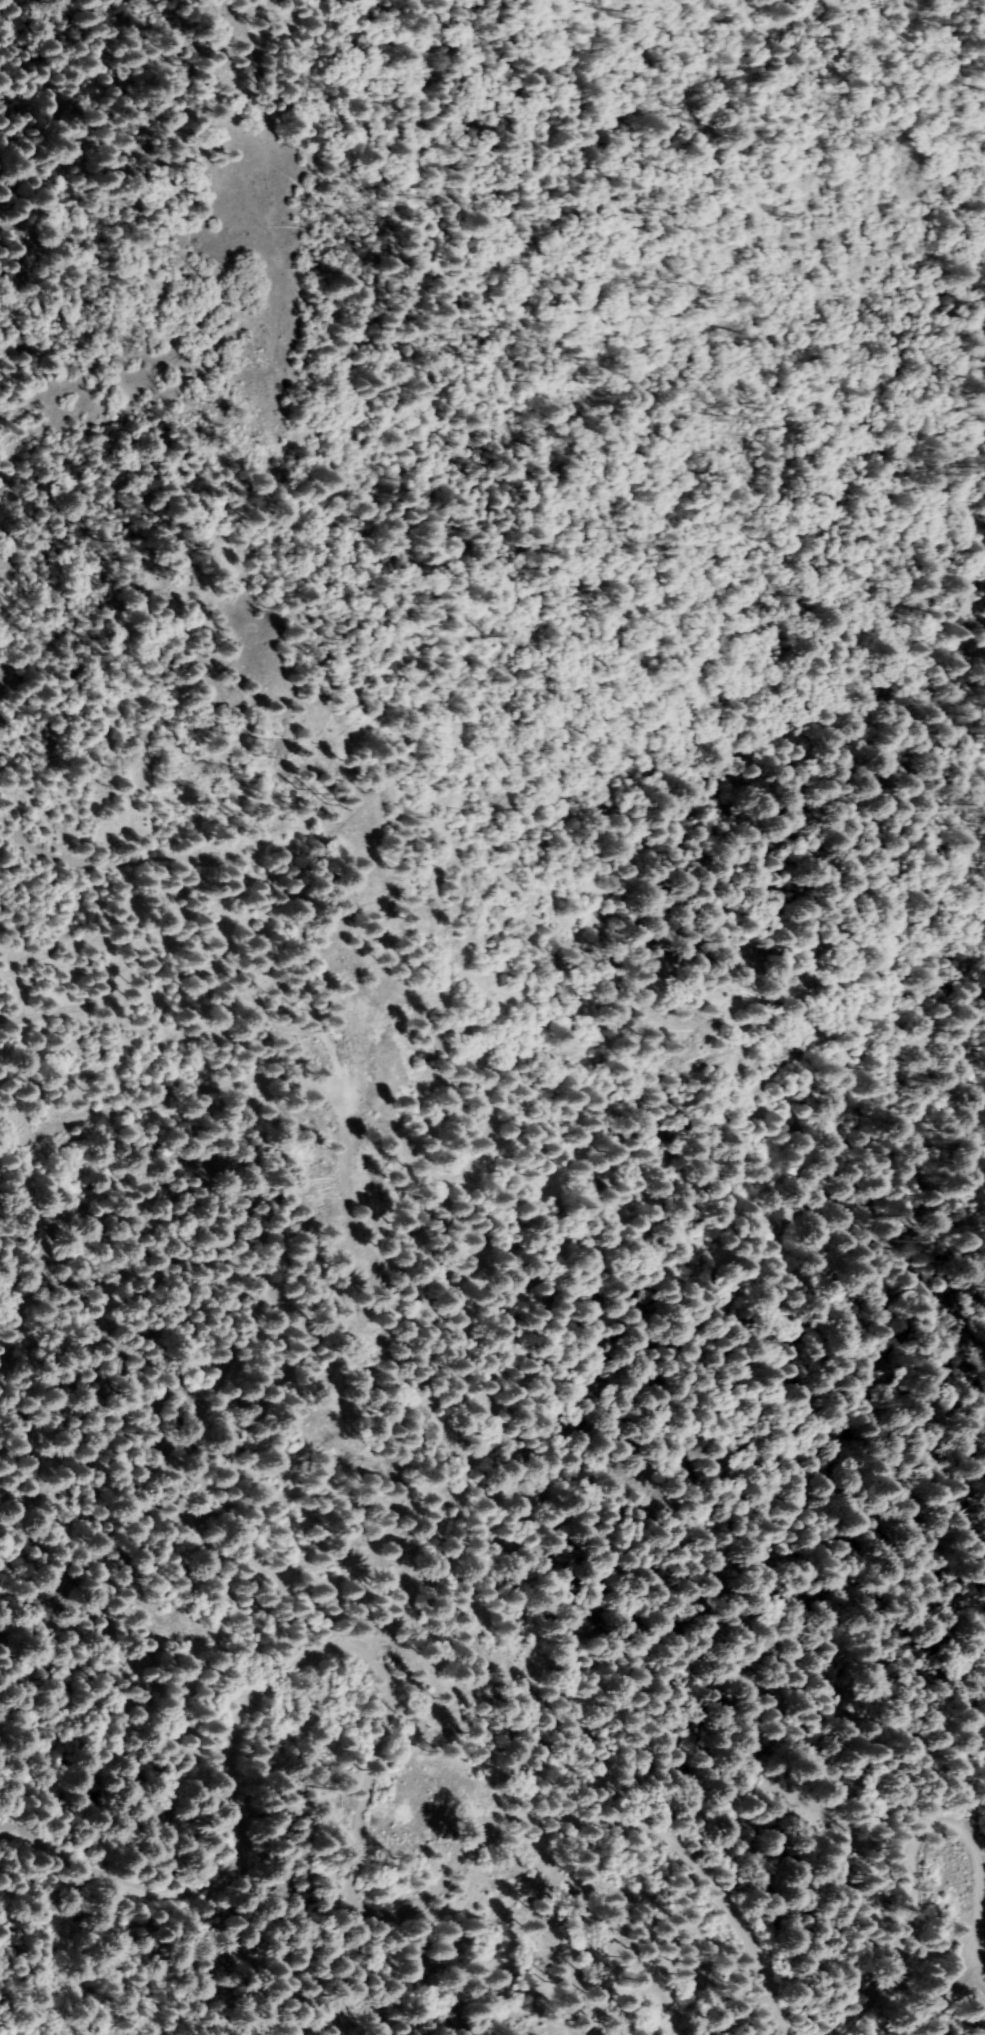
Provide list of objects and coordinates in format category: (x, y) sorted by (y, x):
road: (812, 12)
road: (157, 240)
road: (456, 1616)

